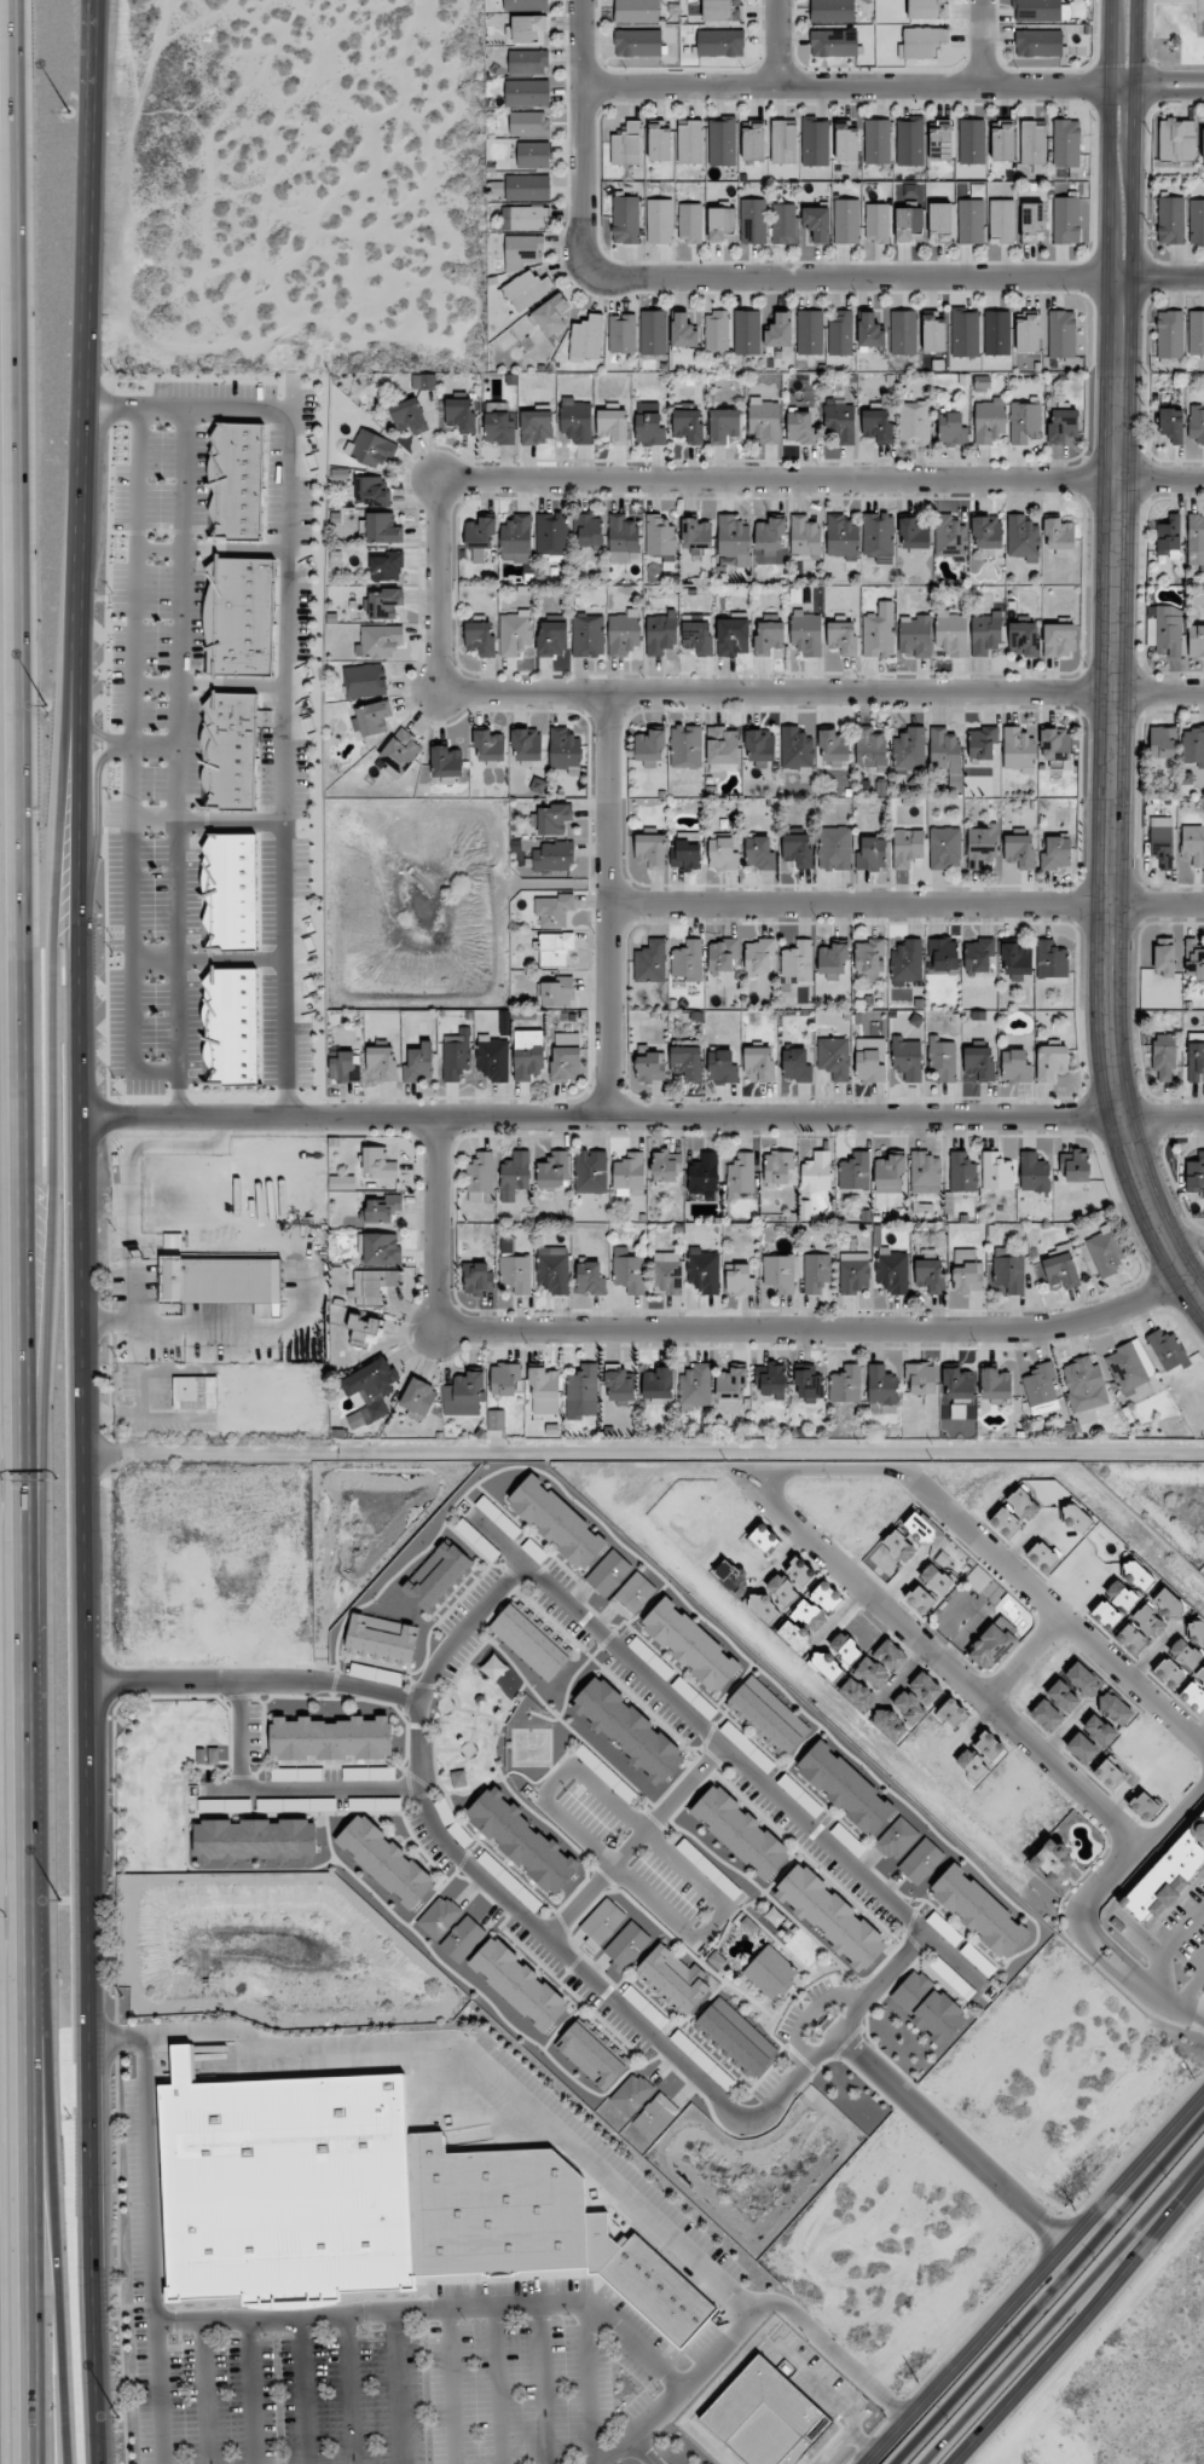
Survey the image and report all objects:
road: (1174, 0)
building: (526, 4)
building: (722, 10)
building: (924, 10)
building: (1037, 10)
building: (636, 11)
building: (832, 11)
park: (1200, 18)
building: (528, 29)
park: (1175, 34)
building: (637, 42)
building: (719, 42)
building: (921, 42)
building: (1038, 42)
road: (777, 44)
building: (834, 44)
road: (984, 45)
road: (1148, 57)
building: (527, 62)
road: (1134, 64)
road: (1169, 79)
road: (857, 87)
road: (1169, 92)
building: (527, 93)
building: (528, 123)
road: (1111, 139)
building: (940, 140)
building: (1002, 140)
road: (1135, 140)
building: (1176, 140)
building: (659, 142)
building: (753, 142)
building: (846, 142)
building: (876, 142)
building: (910, 142)
building: (972, 142)
building: (690, 143)
building: (722, 143)
building: (783, 143)
building: (815, 143)
building: (1032, 143)
building: (1066, 143)
building: (1203, 143)
building: (627, 145)
building: (533, 155)
building: (527, 187)
building: (525, 218)
building: (625, 219)
building: (1066, 220)
building: (1170, 220)
building: (659, 221)
building: (753, 221)
building: (846, 221)
building: (939, 221)
building: (971, 221)
building: (1002, 221)
building: (1032, 221)
building: (1197, 221)
building: (690, 223)
building: (817, 223)
building: (876, 223)
building: (722, 224)
building: (785, 224)
building: (909, 224)
building: (523, 249)
road: (759, 278)
road: (87, 289)
building: (526, 289)
building: (551, 315)
building: (684, 330)
building: (716, 330)
building: (780, 330)
building: (869, 330)
building: (933, 331)
building: (623, 333)
building: (653, 333)
building: (747, 333)
building: (810, 333)
building: (840, 333)
building: (903, 333)
building: (965, 333)
building: (997, 333)
building: (1026, 333)
building: (1196, 333)
building: (1061, 334)
building: (1170, 334)
building: (586, 339)
building: (423, 381)
building: (459, 414)
building: (409, 416)
building: (577, 420)
building: (764, 420)
building: (990, 421)
building: (841, 423)
building: (914, 423)
building: (498, 425)
building: (613, 425)
building: (689, 425)
building: (724, 425)
building: (878, 425)
building: (1063, 425)
building: (1171, 425)
building: (1196, 425)
building: (800, 426)
building: (536, 427)
building: (951, 428)
building: (649, 429)
building: (372, 449)
road: (717, 479)
building: (237, 481)
building: (371, 491)
building: (382, 529)
building: (587, 529)
building: (480, 532)
building: (550, 533)
building: (696, 533)
building: (1059, 533)
building: (770, 535)
building: (805, 535)
building: (914, 535)
building: (988, 535)
building: (659, 536)
building: (950, 536)
building: (1168, 536)
building: (879, 537)
building: (516, 538)
building: (623, 538)
building: (841, 538)
building: (1023, 538)
building: (1196, 539)
building: (388, 567)
building: (384, 602)
building: (241, 617)
building: (1165, 630)
building: (879, 631)
building: (624, 633)
building: (661, 633)
building: (806, 633)
building: (951, 633)
building: (985, 633)
building: (516, 634)
building: (587, 635)
building: (915, 635)
building: (733, 636)
building: (697, 637)
building: (841, 637)
building: (480, 639)
building: (551, 639)
building: (1023, 639)
building: (1059, 640)
building: (378, 641)
building: (1196, 641)
building: (364, 680)
road: (821, 691)
building: (372, 717)
road: (183, 719)
building: (1163, 741)
building: (982, 743)
building: (526, 744)
building: (834, 745)
building: (490, 746)
building: (685, 746)
building: (759, 746)
building: (1193, 746)
building: (649, 748)
building: (722, 748)
building: (797, 748)
building: (870, 748)
building: (1055, 748)
building: (565, 749)
building: (909, 750)
building: (1018, 750)
building: (230, 751)
building: (945, 751)
building: (400, 752)
building: (446, 762)
road: (1112, 801)
road: (98, 808)
building: (1162, 841)
building: (982, 844)
building: (1193, 844)
building: (650, 848)
building: (834, 848)
building: (907, 848)
building: (945, 848)
building: (798, 850)
building: (1019, 850)
building: (687, 852)
building: (722, 853)
building: (759, 853)
building: (1057, 853)
building: (872, 854)
building: (552, 856)
building: (230, 891)
road: (610, 905)
road: (907, 905)
building: (554, 910)
building: (554, 947)
building: (943, 953)
building: (868, 954)
building: (978, 954)
building: (723, 956)
building: (758, 957)
building: (1164, 957)
building: (832, 959)
building: (1050, 959)
building: (688, 960)
building: (798, 960)
building: (1194, 960)
building: (650, 962)
building: (908, 962)
building: (1017, 962)
building: (557, 992)
building: (231, 1026)
road: (57, 1049)
building: (528, 1054)
building: (456, 1055)
building: (566, 1056)
building: (1164, 1056)
building: (493, 1057)
building: (834, 1057)
building: (907, 1058)
building: (869, 1060)
building: (942, 1060)
building: (382, 1062)
building: (419, 1062)
building: (687, 1062)
building: (978, 1062)
building: (1050, 1062)
building: (1196, 1062)
building: (758, 1063)
building: (795, 1064)
building: (1015, 1066)
building: (345, 1067)
building: (650, 1067)
building: (722, 1067)
road: (643, 1118)
building: (377, 1162)
building: (665, 1166)
building: (778, 1166)
building: (1076, 1166)
building: (554, 1170)
building: (590, 1171)
building: (855, 1171)
building: (996, 1171)
building: (816, 1172)
building: (925, 1172)
building: (962, 1172)
building: (1034, 1172)
building: (480, 1173)
building: (704, 1173)
building: (888, 1173)
building: (1194, 1173)
building: (514, 1175)
building: (630, 1175)
building: (741, 1176)
building: (342, 1182)
road: (127, 1200)
building: (382, 1210)
road: (31, 1231)
road: (436, 1233)
building: (380, 1248)
building: (1106, 1251)
building: (1060, 1268)
building: (552, 1269)
building: (704, 1270)
building: (892, 1270)
building: (816, 1271)
building: (966, 1271)
building: (629, 1273)
building: (666, 1273)
building: (853, 1273)
building: (517, 1274)
building: (780, 1274)
building: (1009, 1274)
building: (930, 1275)
building: (477, 1277)
building: (590, 1279)
building: (739, 1280)
building: (219, 1281)
building: (372, 1285)
building: (365, 1331)
road: (824, 1331)
road: (204, 1334)
building: (1168, 1349)
building: (1129, 1364)
building: (504, 1379)
building: (920, 1379)
building: (771, 1380)
building: (808, 1381)
building: (658, 1384)
building: (846, 1384)
building: (957, 1384)
building: (1084, 1384)
building: (618, 1385)
building: (881, 1385)
building: (995, 1385)
building: (695, 1387)
building: (731, 1387)
building: (1041, 1390)
building: (370, 1391)
building: (545, 1391)
building: (196, 1392)
building: (581, 1392)
building: (464, 1393)
building: (418, 1397)
road: (644, 1454)
road: (1076, 1487)
building: (1014, 1513)
building: (1076, 1517)
road: (86, 1522)
building: (557, 1523)
building: (920, 1527)
building: (764, 1537)
building: (898, 1547)
building: (1043, 1556)
road: (995, 1557)
building: (800, 1573)
building: (609, 1574)
building: (1138, 1575)
building: (438, 1576)
building: (937, 1579)
building: (978, 1579)
building: (782, 1589)
building: (635, 1595)
building: (826, 1597)
building: (920, 1599)
building: (1115, 1604)
building: (762, 1606)
building: (809, 1616)
building: (1148, 1623)
building: (1197, 1631)
building: (793, 1637)
building: (1131, 1638)
road: (450, 1639)
building: (382, 1640)
building: (531, 1640)
building: (994, 1644)
building: (690, 1645)
building: (1185, 1654)
road: (939, 1661)
road: (1024, 1661)
building: (881, 1664)
building: (494, 1668)
building: (1169, 1673)
building: (376, 1674)
building: (1083, 1680)
road: (253, 1687)
building: (925, 1687)
building: (1194, 1691)
building: (857, 1695)
building: (1061, 1696)
building: (909, 1707)
building: (1115, 1709)
building: (953, 1712)
building: (1047, 1715)
building: (768, 1716)
building: (888, 1725)
building: (1099, 1730)
building: (629, 1731)
building: (331, 1738)
building: (989, 1747)
building: (1082, 1748)
building: (972, 1764)
building: (366, 1773)
building: (1109, 1773)
building: (297, 1775)
building: (458, 1778)
road: (282, 1787)
building: (846, 1789)
building: (225, 1805)
building: (296, 1805)
building: (1144, 1806)
road: (1171, 1811)
building: (741, 1833)
building: (522, 1840)
building: (897, 1840)
building: (255, 1841)
road: (632, 1845)
building: (1052, 1860)
building: (386, 1862)
building: (922, 1862)
building: (1169, 1876)
road: (1104, 1882)
building: (979, 1912)
building: (440, 1917)
building: (830, 1917)
building: (603, 1922)
building: (463, 1939)
building: (626, 1946)
building: (978, 1960)
building: (771, 1973)
road: (1138, 1978)
building: (673, 1981)
building: (520, 1985)
building: (927, 2008)
building: (736, 2039)
building: (592, 2054)
power tower: (1193, 2079)
building: (632, 2094)
building: (655, 2117)
road: (540, 2119)
road: (951, 2140)
road: (54, 2170)
building: (279, 2191)
power tower: (1075, 2210)
road: (151, 2250)
road: (1032, 2281)
building: (658, 2291)
road: (1055, 2292)
road: (433, 2309)
road: (1064, 2310)
road: (1083, 2321)
power tower: (915, 2382)
road: (542, 2384)
road: (496, 2385)
road: (586, 2385)
road: (451, 2387)
road: (683, 2387)
road: (396, 2388)
road: (346, 2390)
road: (204, 2393)
road: (251, 2393)
road: (302, 2393)
road: (833, 2397)
building: (766, 2417)

